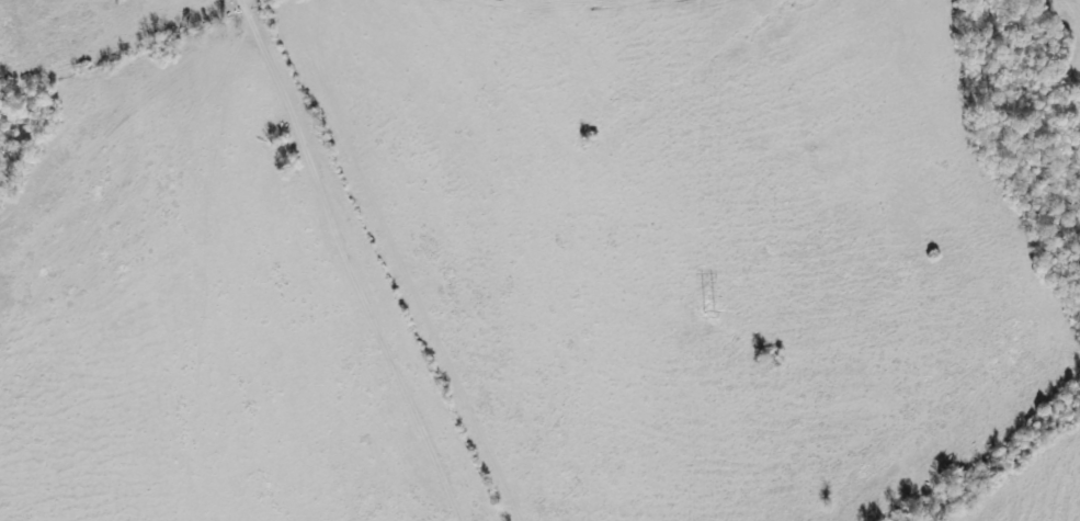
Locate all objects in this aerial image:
power tower: (704, 309)

